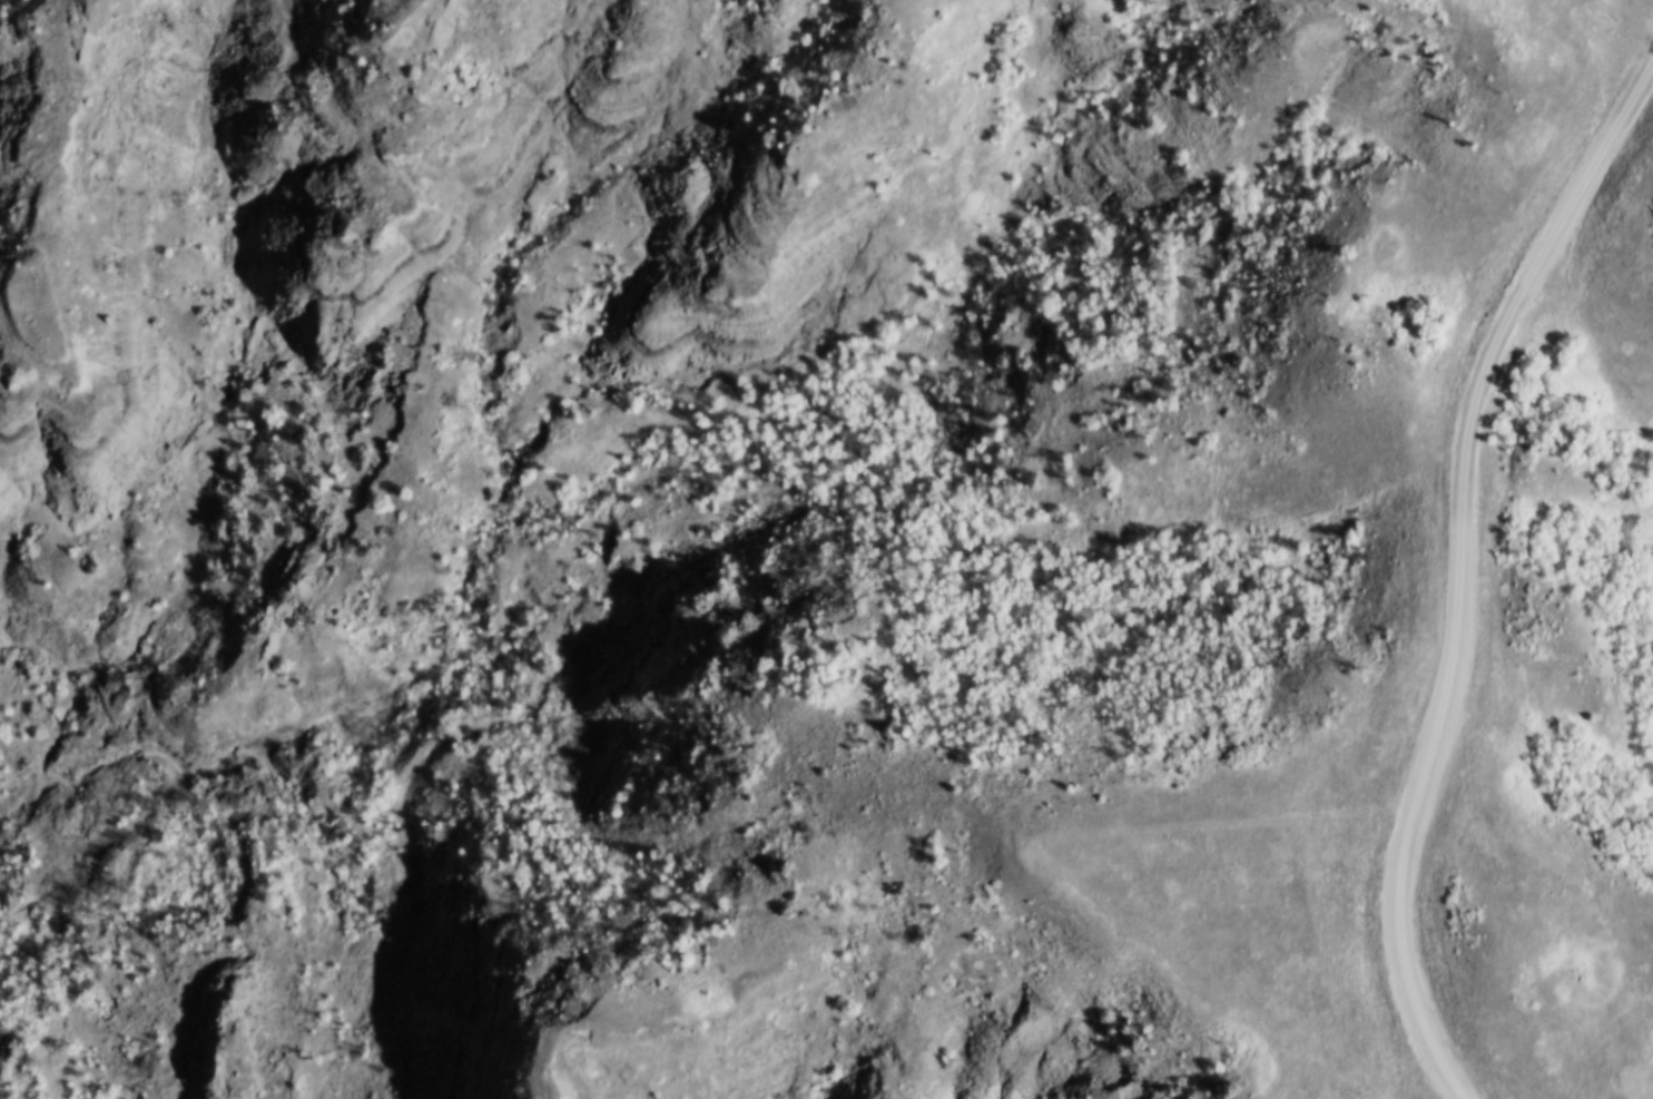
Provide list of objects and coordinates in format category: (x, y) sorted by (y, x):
road: (1454, 561)

